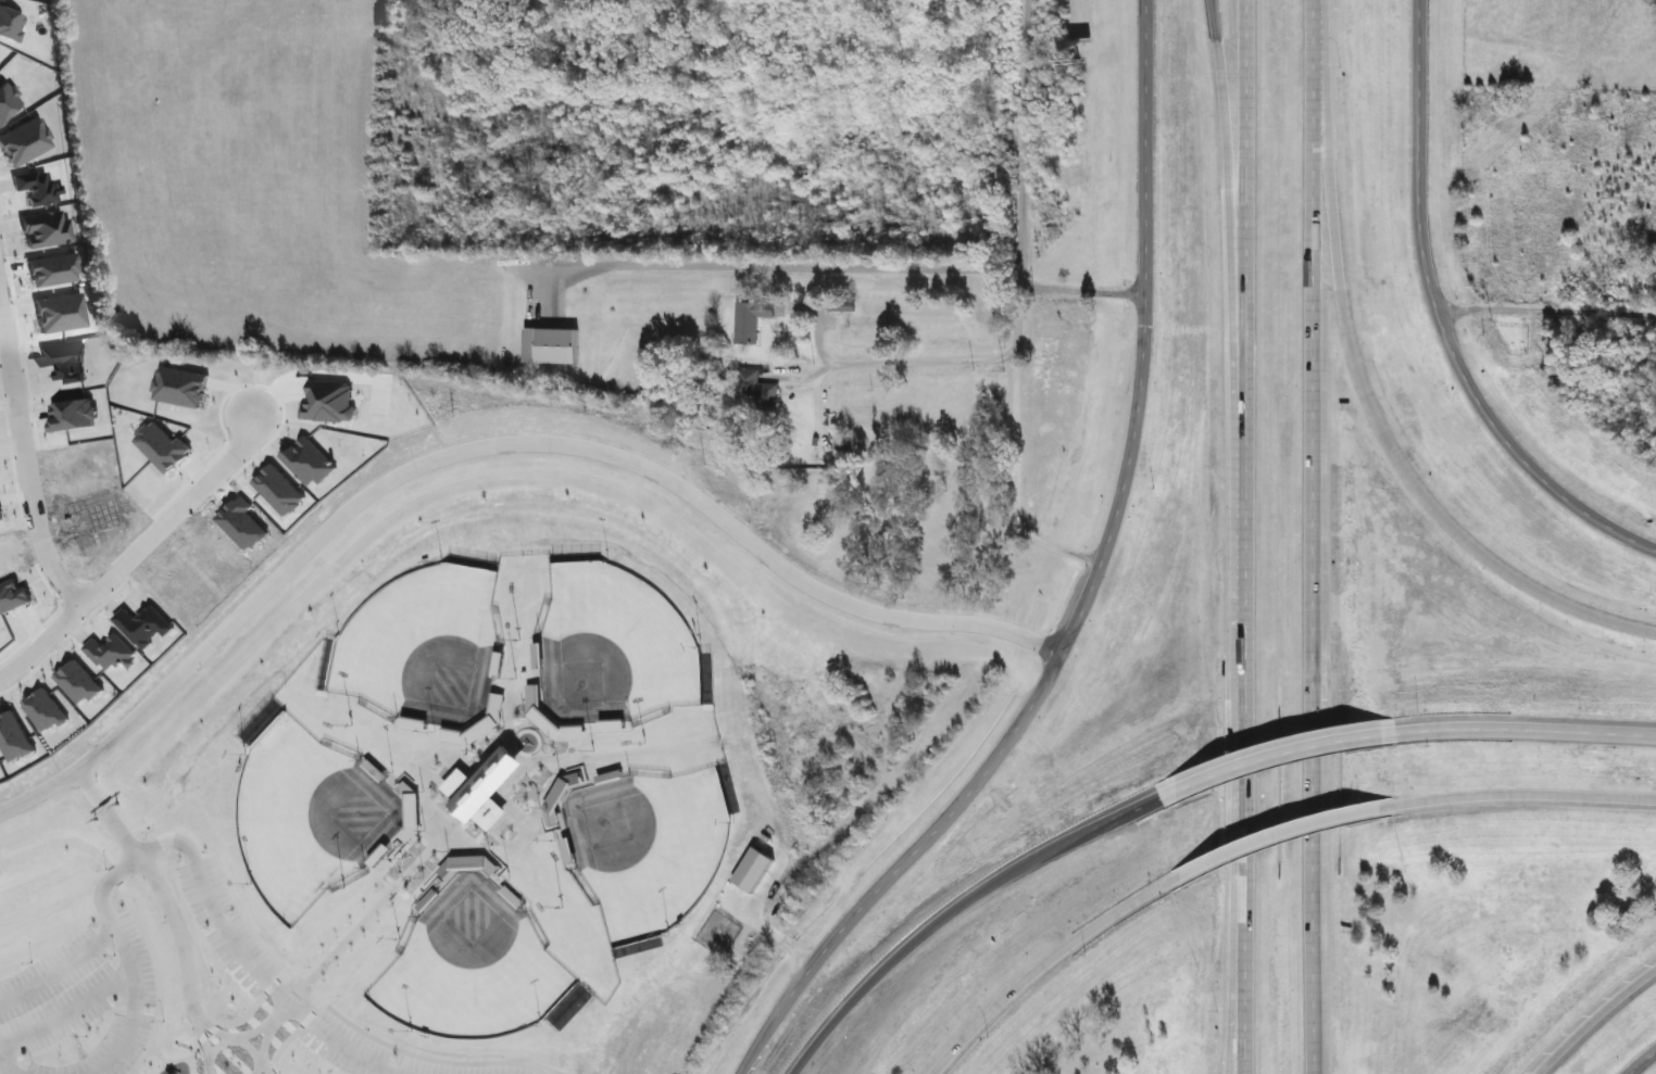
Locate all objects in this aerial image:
road: (1313, 52)
road: (1016, 209)
road: (1227, 226)
road: (1243, 226)
building: (1651, 247)
road: (770, 262)
building: (839, 306)
road: (1545, 312)
building: (749, 317)
road: (1439, 321)
building: (548, 345)
road: (896, 357)
building: (980, 392)
building: (753, 393)
road: (490, 430)
road: (1384, 438)
road: (1013, 453)
road: (24, 458)
building: (803, 477)
building: (929, 480)
building: (926, 546)
road: (134, 549)
road: (1310, 589)
road: (1086, 590)
park: (419, 636)
park: (610, 639)
road: (1243, 672)
road: (1526, 730)
road: (1280, 753)
building: (478, 788)
road: (1522, 795)
park: (486, 797)
park: (306, 813)
road: (1279, 833)
park: (647, 844)
road: (187, 847)
building: (749, 871)
road: (156, 882)
road: (962, 907)
road: (368, 910)
road: (133, 911)
road: (1043, 963)
park: (469, 965)
road: (59, 966)
road: (1231, 983)
road: (1242, 984)
road: (66, 1008)
road: (276, 1013)
road: (1595, 1020)
road: (218, 1023)
road: (265, 1026)
road: (214, 1028)
road: (201, 1037)
road: (230, 1038)
road: (279, 1043)
road: (158, 1052)
road: (168, 1061)
road: (1642, 1061)
road: (261, 1067)
road: (9, 1069)

